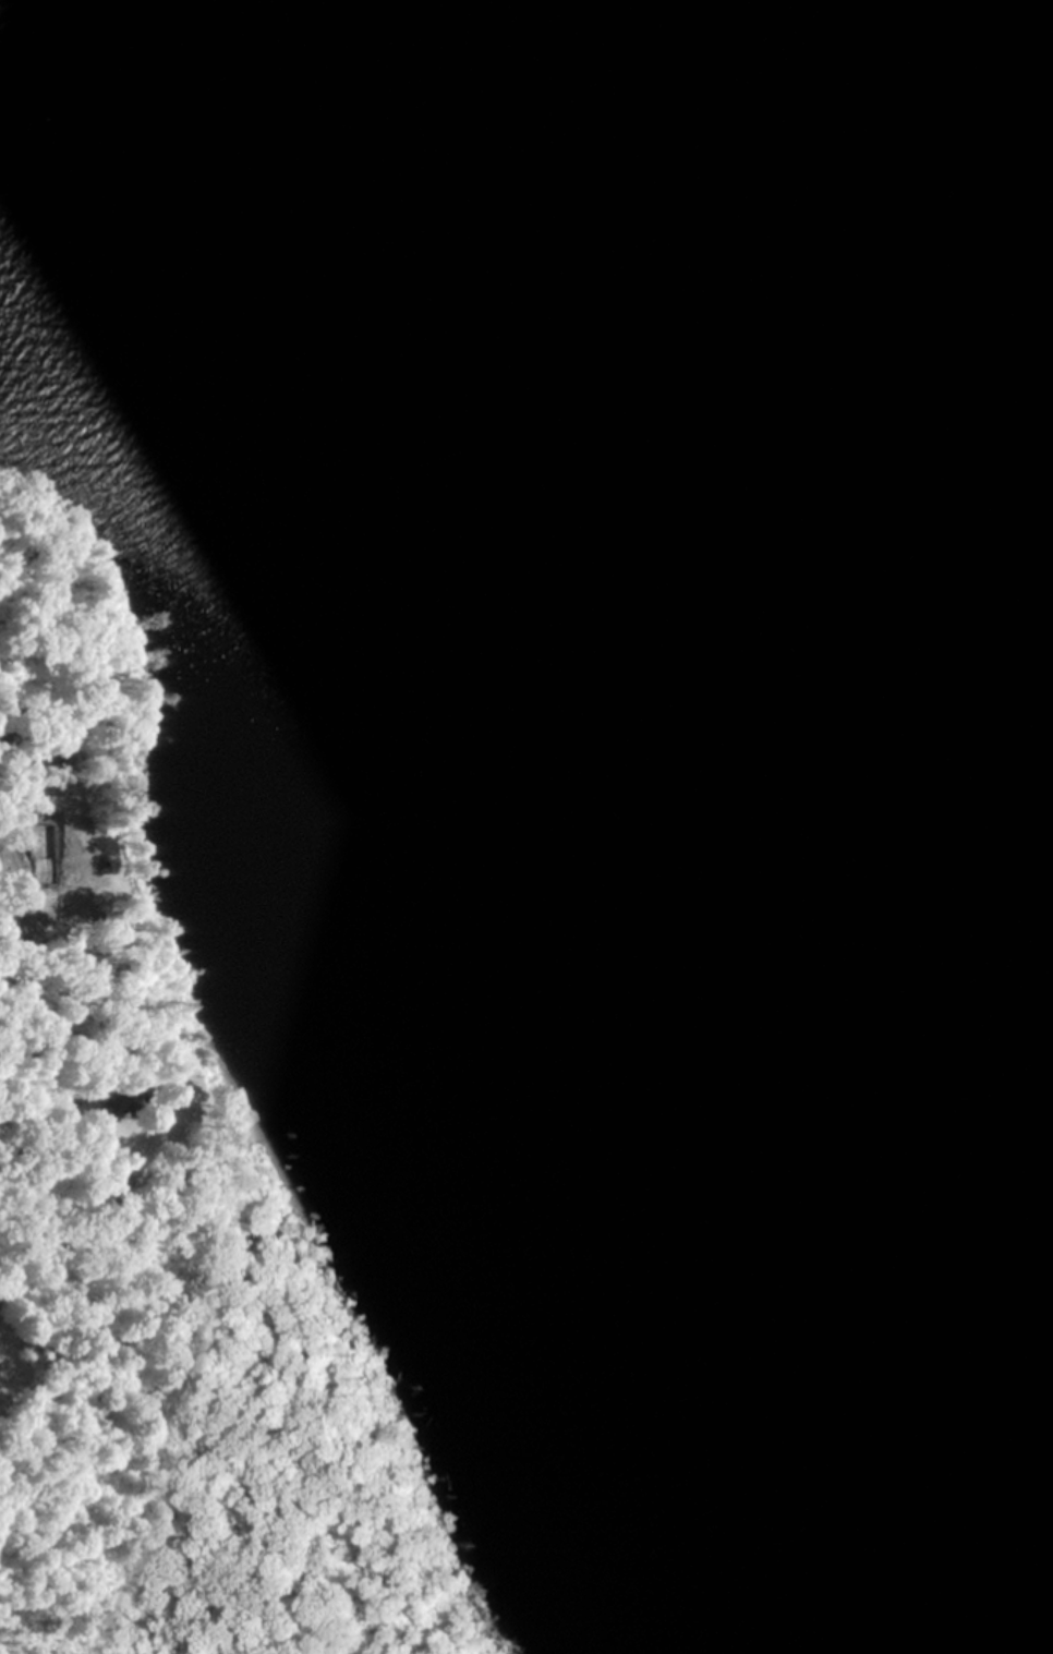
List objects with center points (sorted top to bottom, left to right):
road: (117, 1320)

